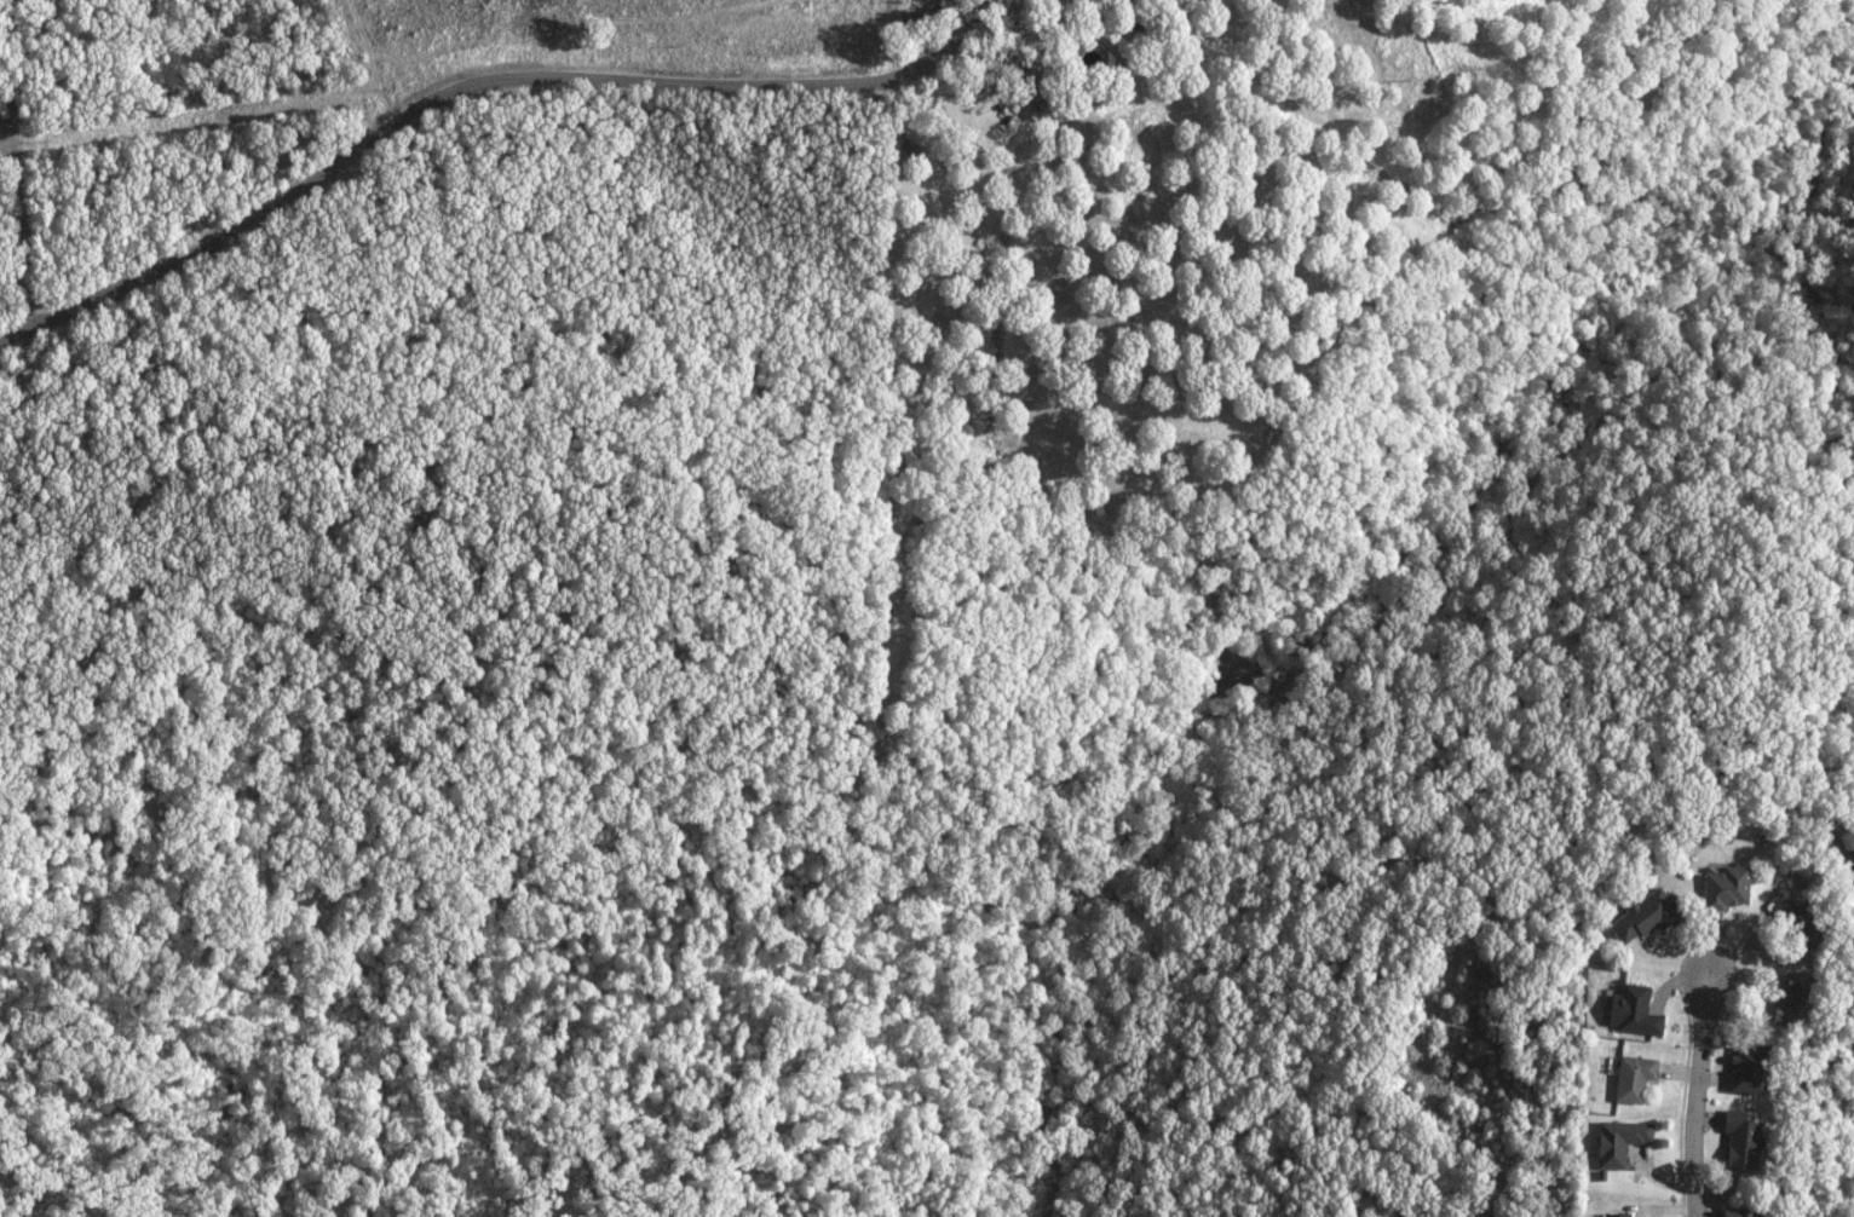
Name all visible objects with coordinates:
road: (304, 83)
road: (477, 87)
building: (1721, 887)
building: (1635, 916)
building: (1789, 922)
building: (1785, 1000)
building: (1628, 1010)
building: (1740, 1069)
building: (1628, 1077)
road: (1697, 1095)
building: (1733, 1140)
building: (1614, 1141)
building: (1733, 1212)
building: (1612, 1215)

